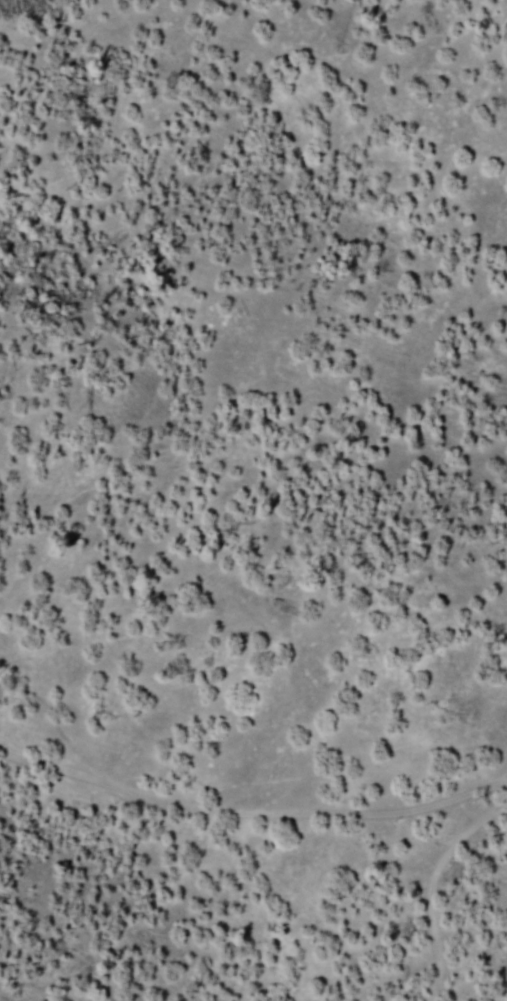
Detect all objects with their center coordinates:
road: (240, 770)
road: (310, 870)

